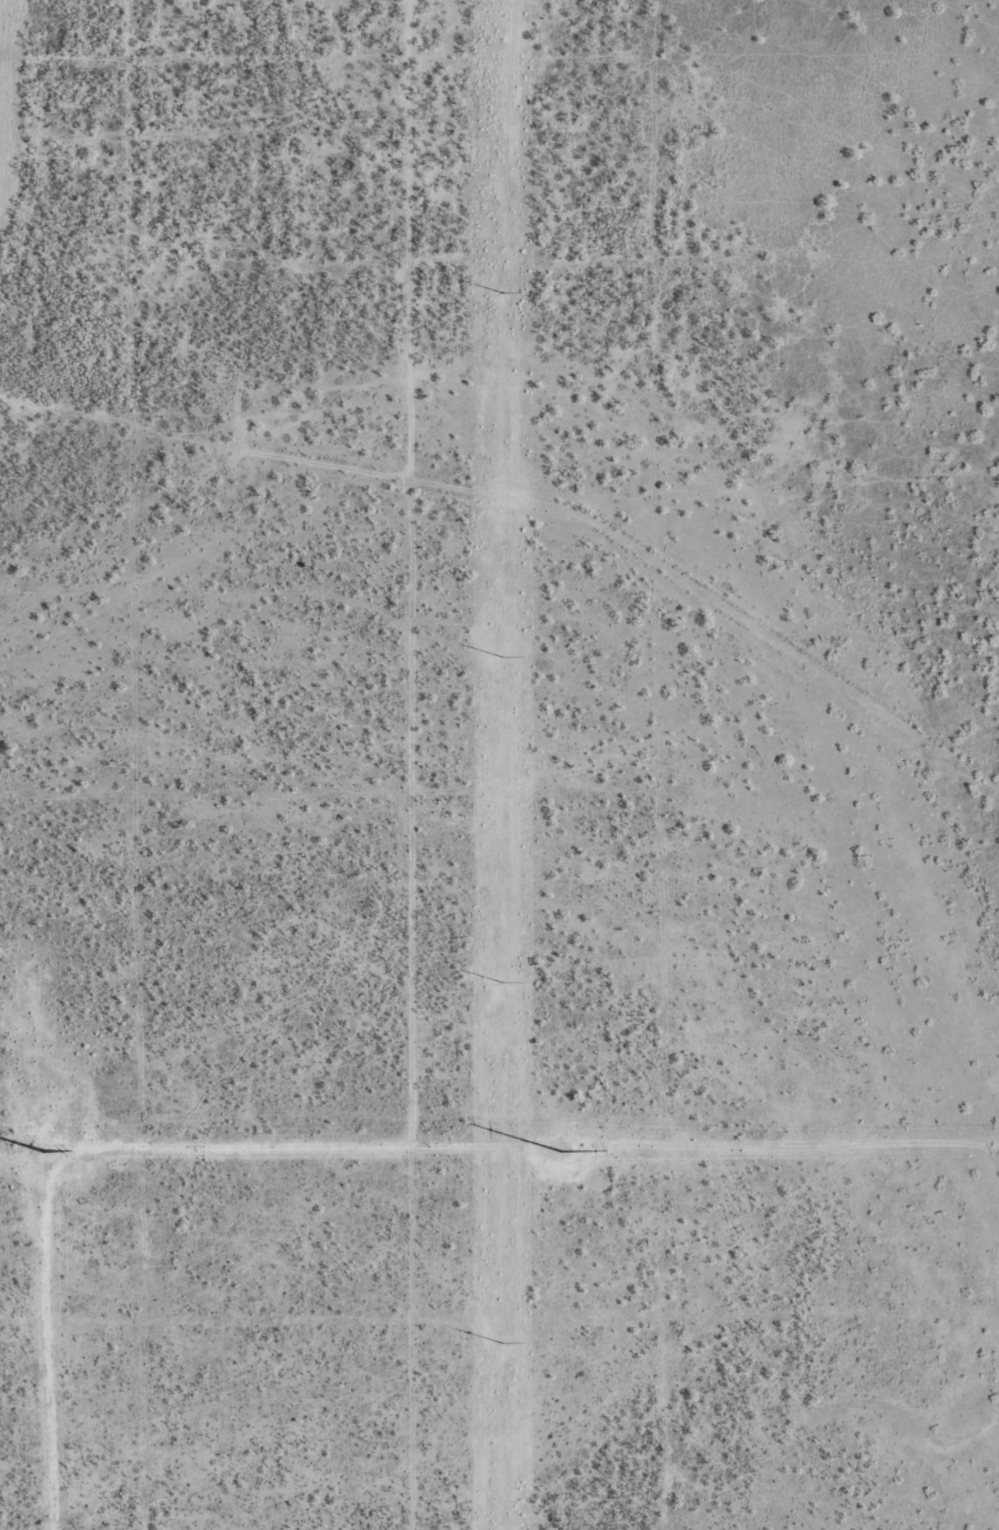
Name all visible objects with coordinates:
power tower: (502, 286)
power tower: (501, 647)
power tower: (501, 976)
power tower: (502, 1336)

